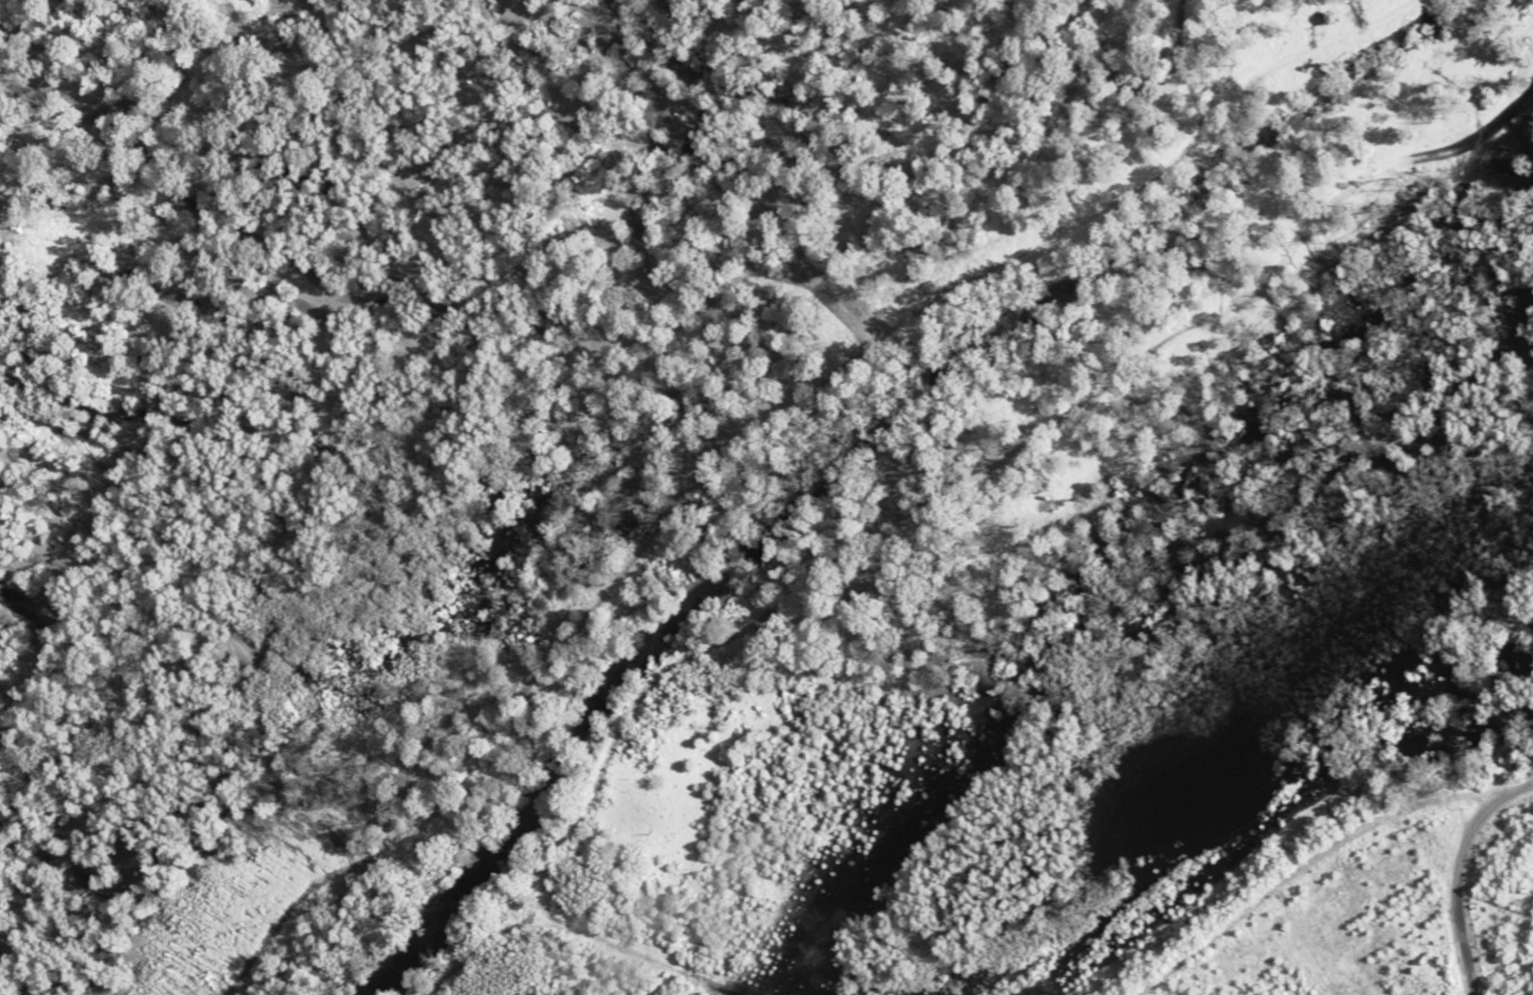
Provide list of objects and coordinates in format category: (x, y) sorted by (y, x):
road: (1457, 871)

